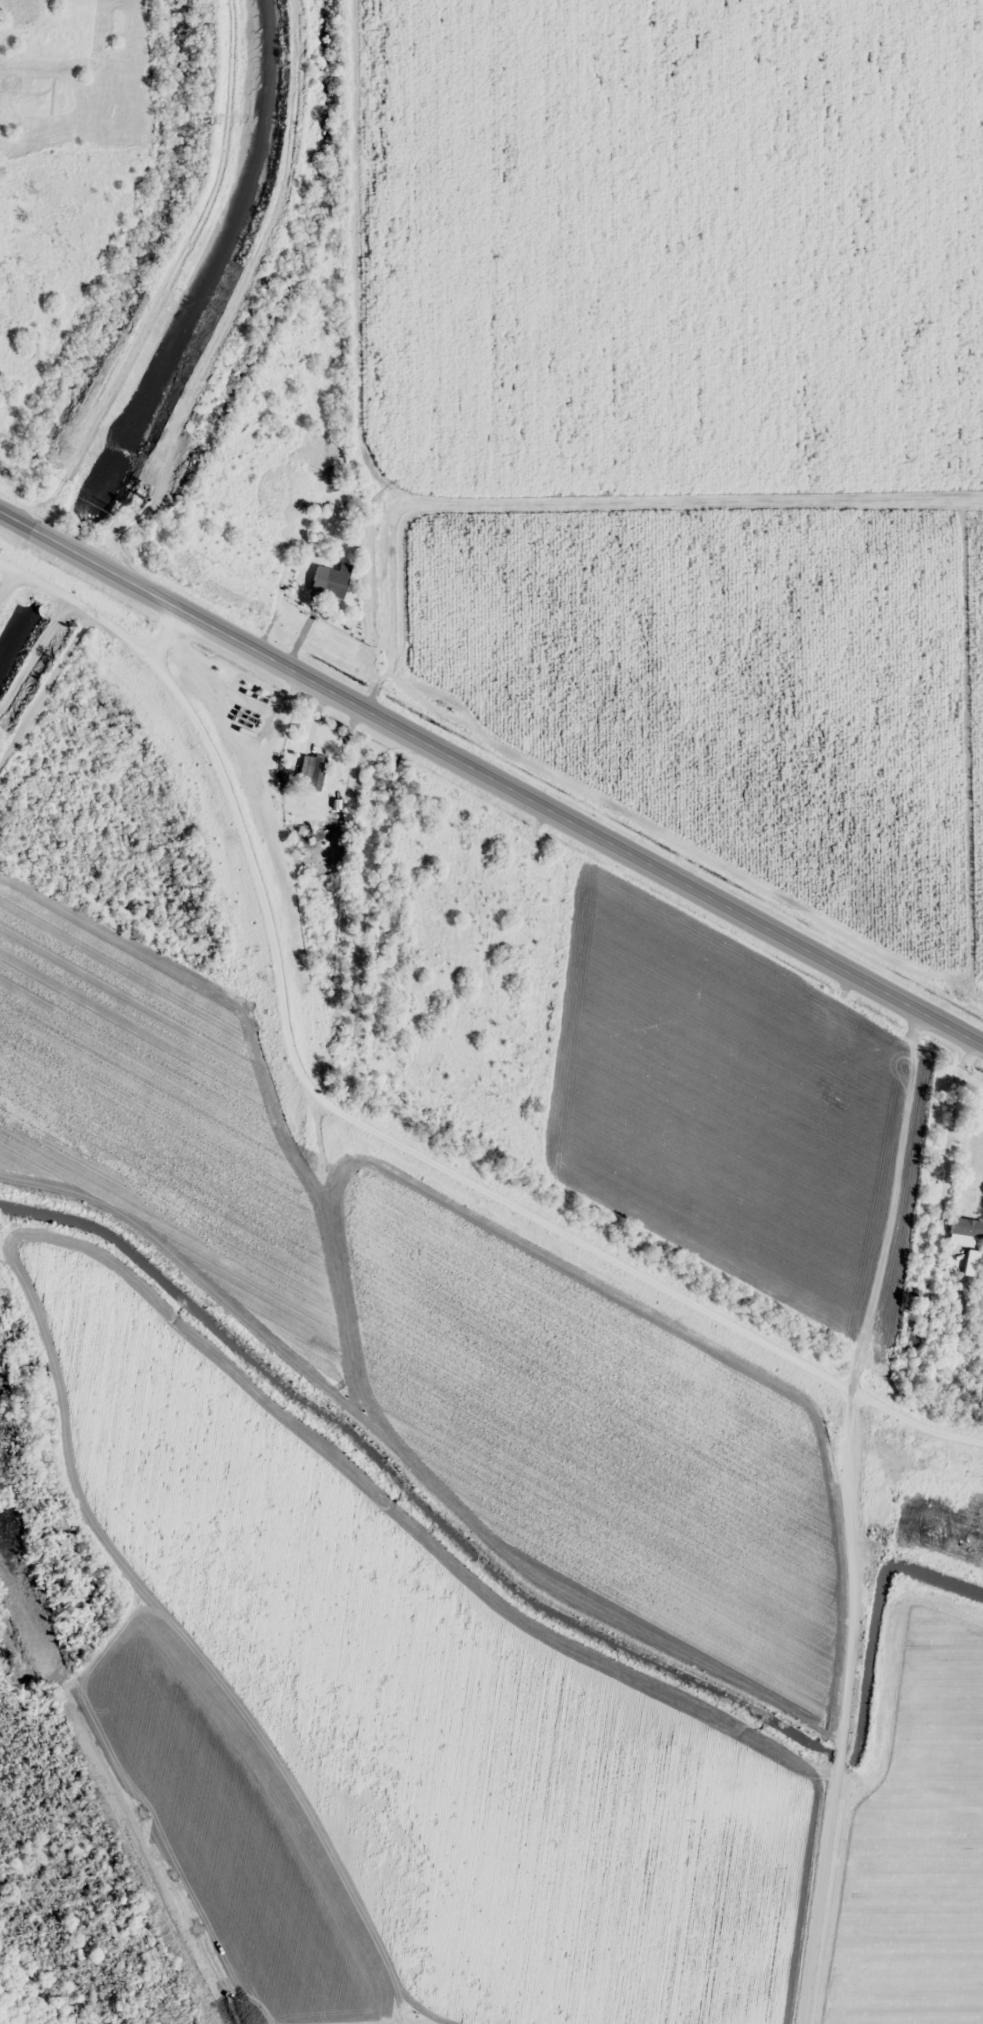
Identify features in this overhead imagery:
building: (334, 583)
building: (311, 771)
road: (491, 775)
building: (920, 1213)
building: (910, 1333)

